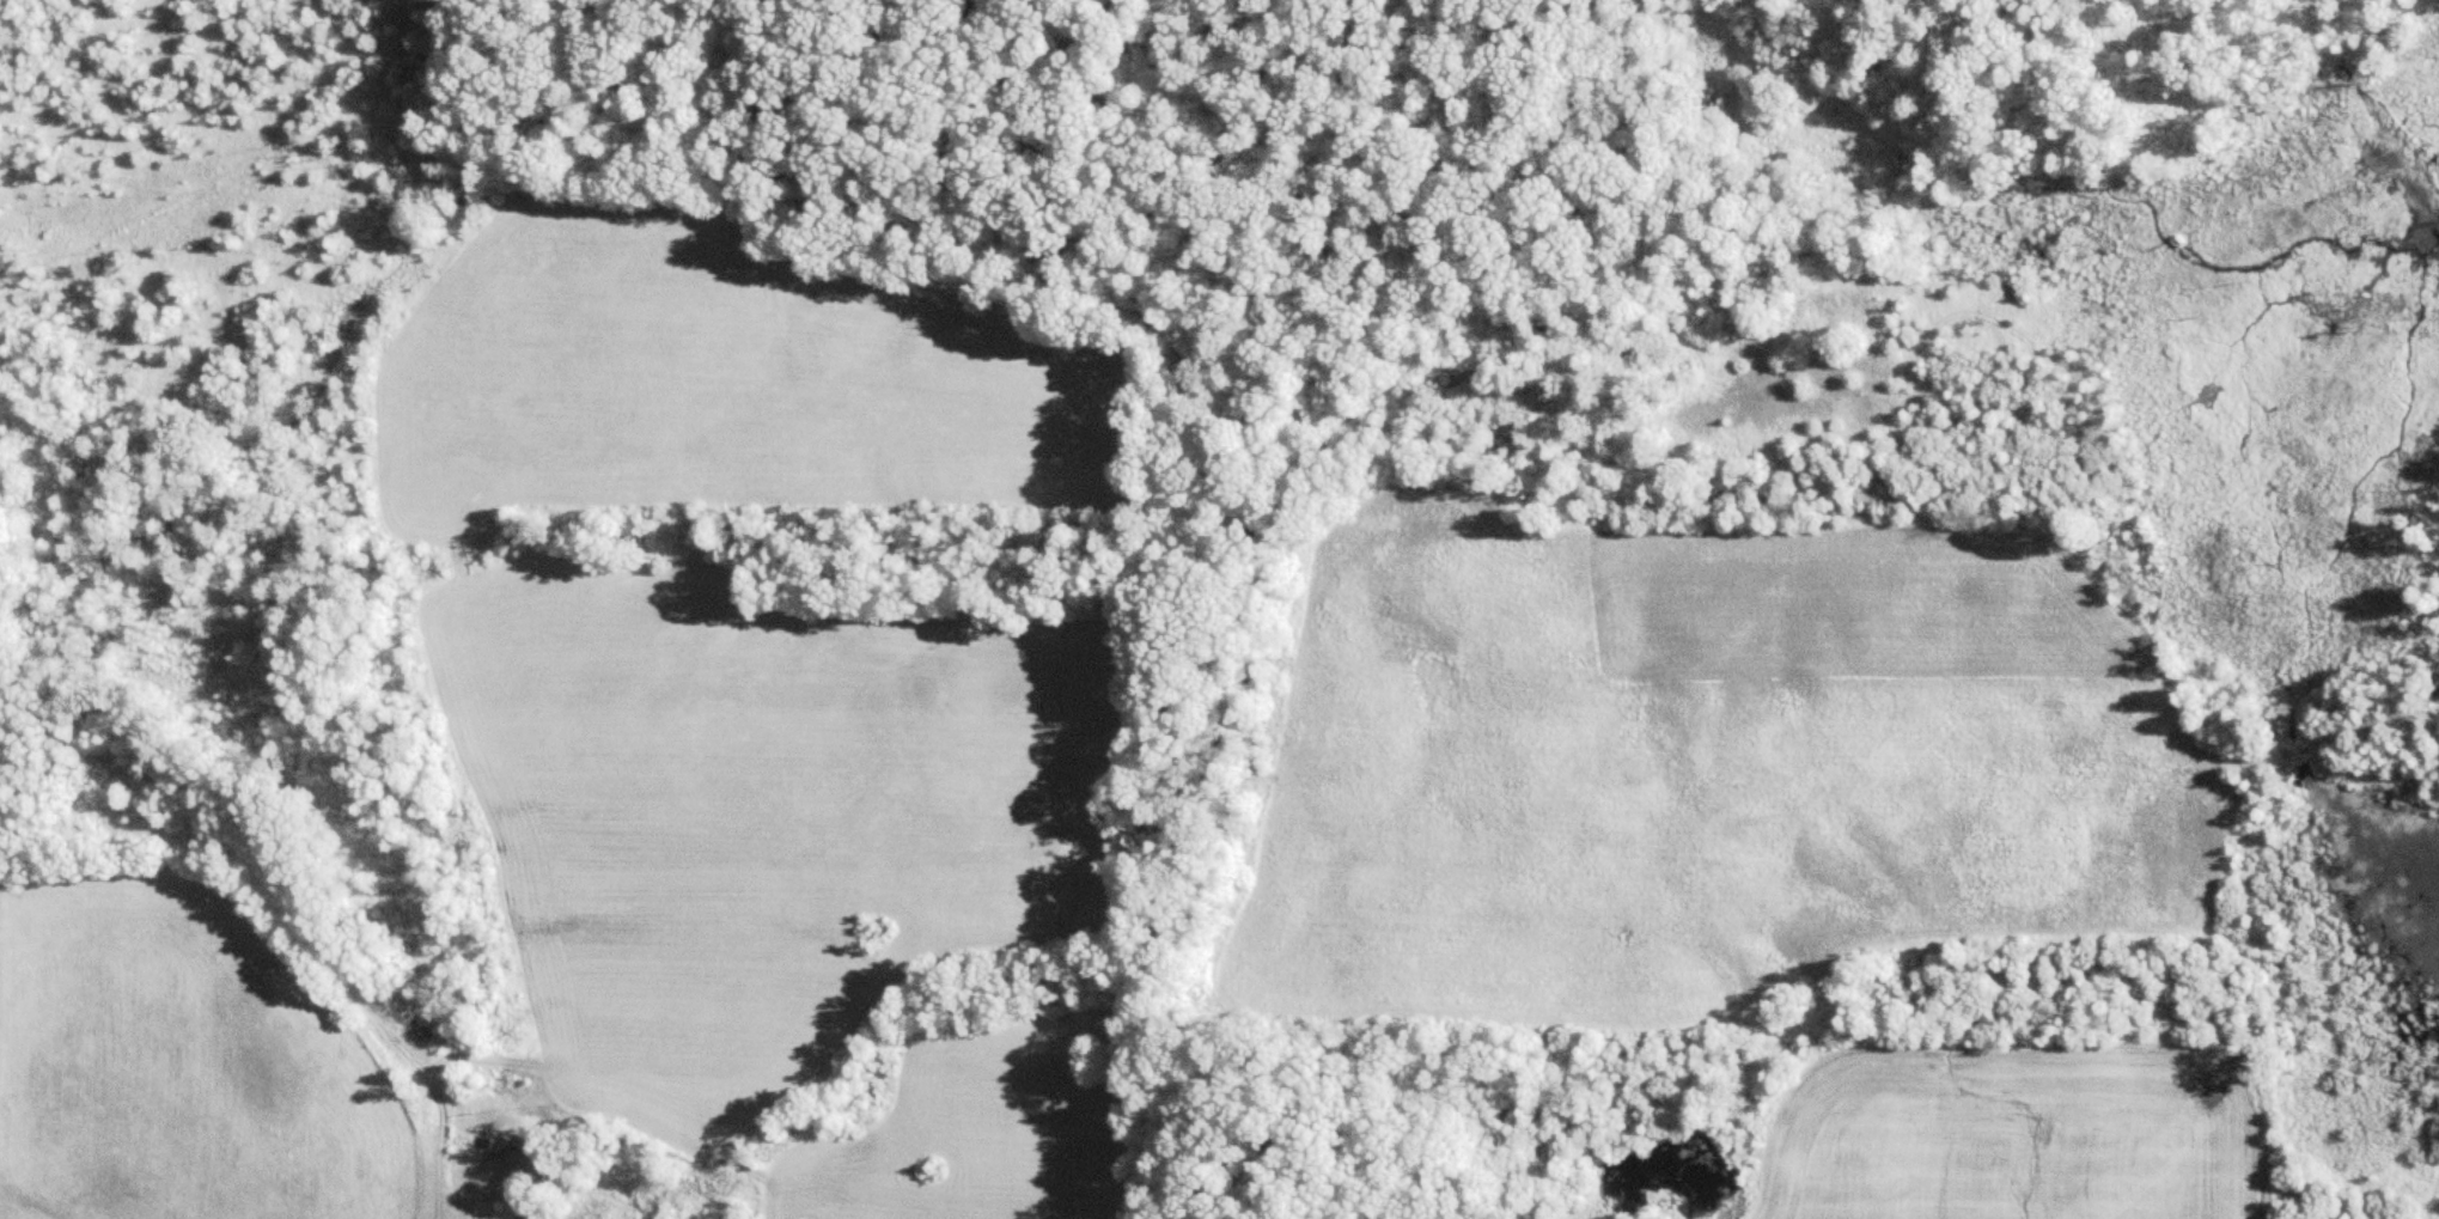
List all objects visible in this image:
crop: (2019, 1138)

